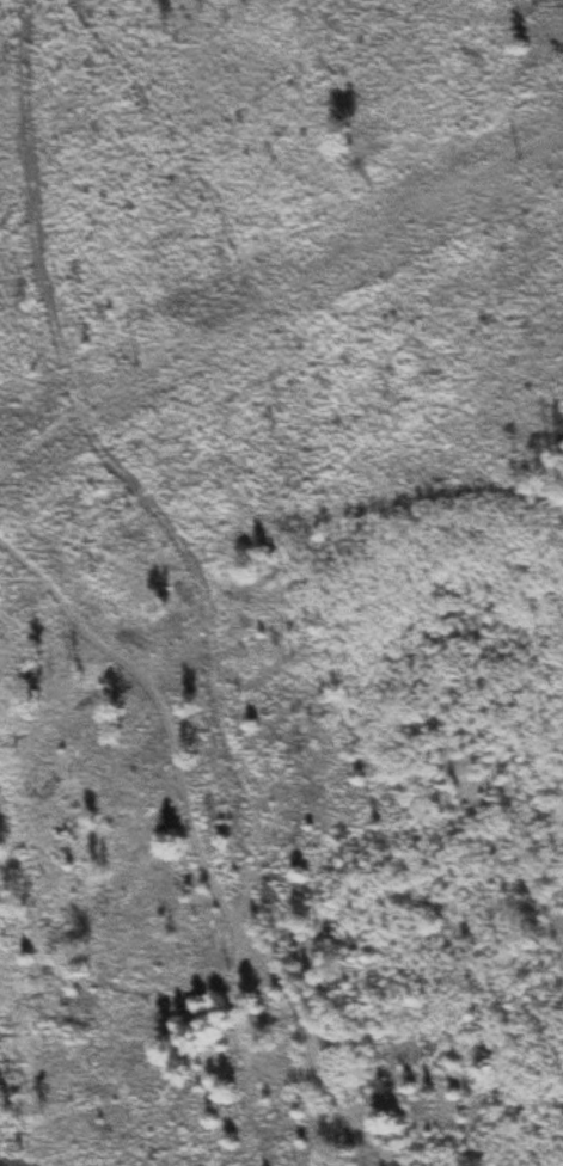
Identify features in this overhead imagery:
road: (203, 847)

